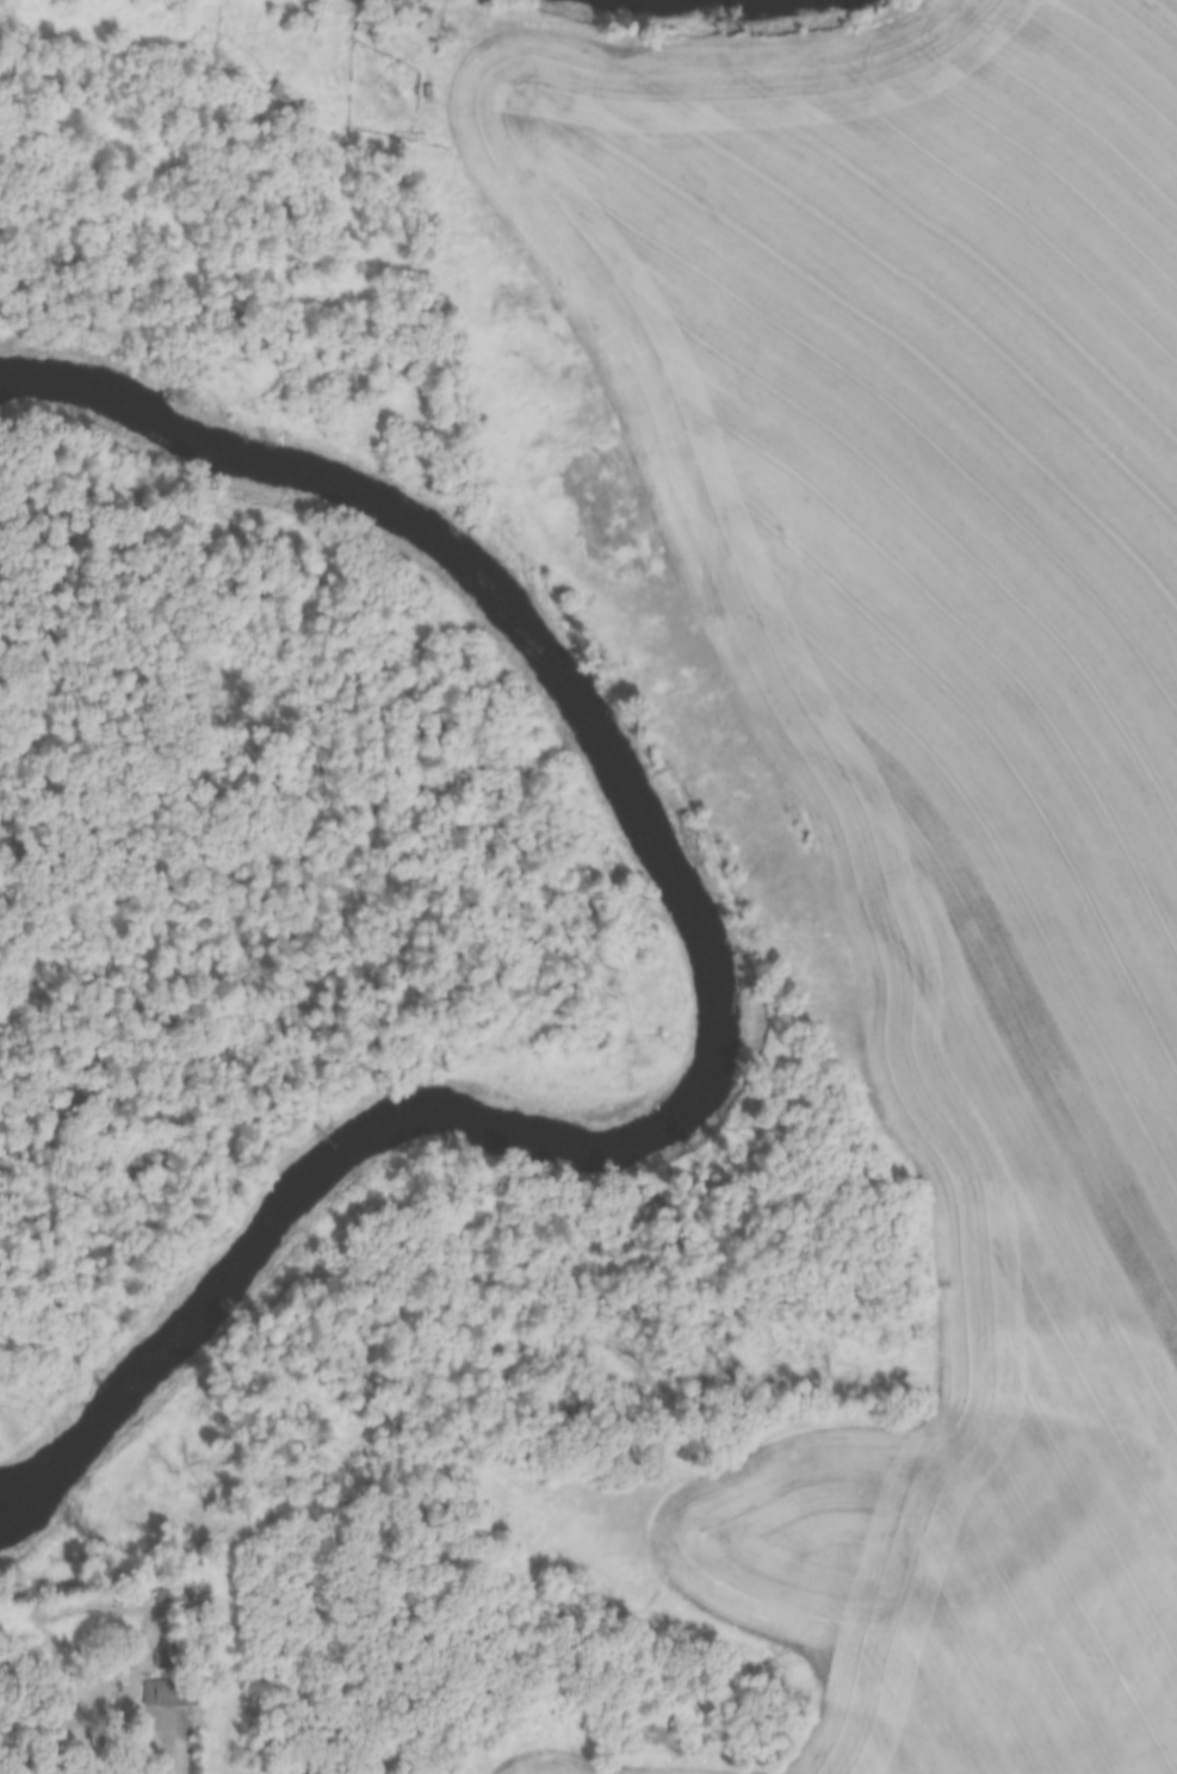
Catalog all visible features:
road: (676, 50)
building: (289, 100)
river: (705, 980)
building: (159, 1658)
building: (162, 1693)
road: (179, 1725)

